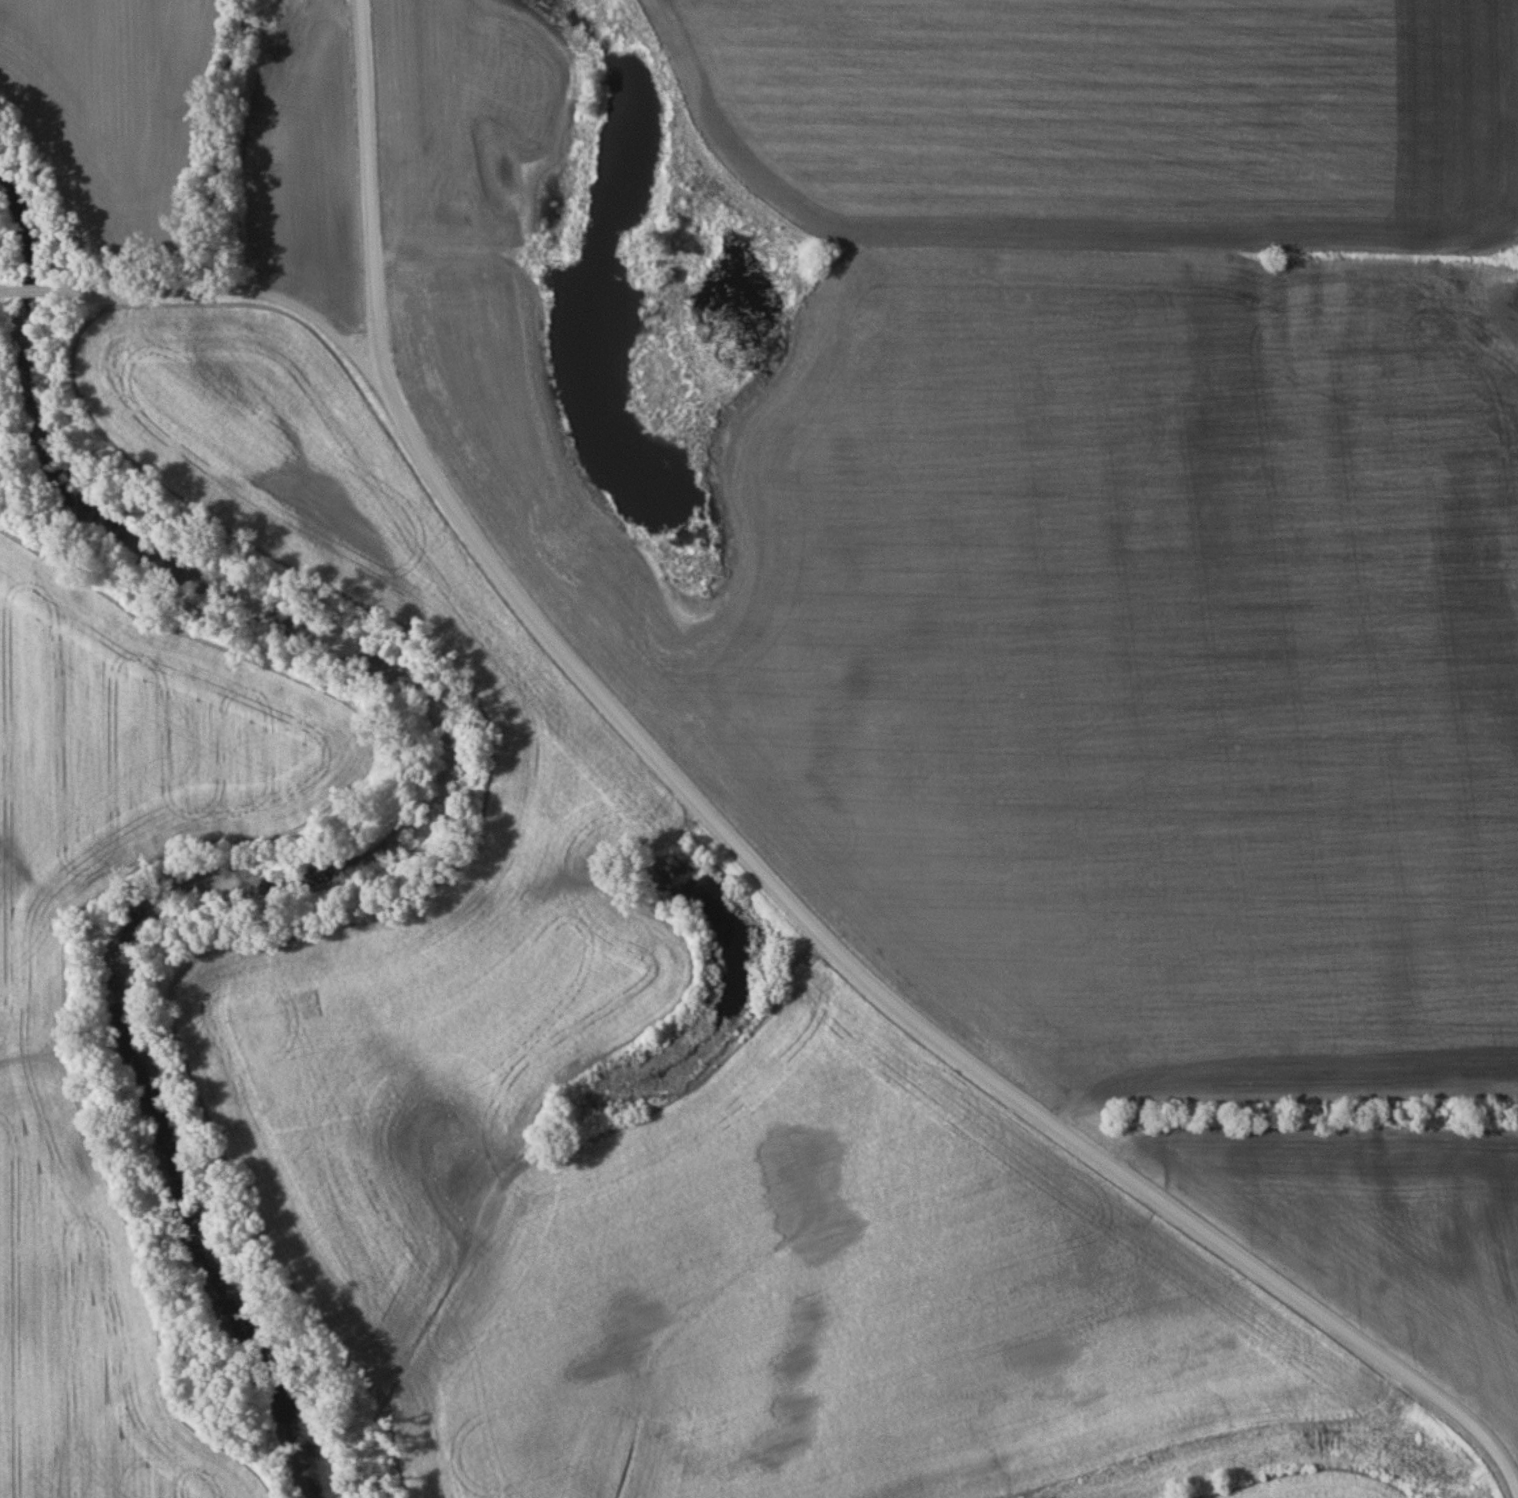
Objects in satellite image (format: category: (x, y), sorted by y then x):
road: (205, 289)
road: (754, 862)

